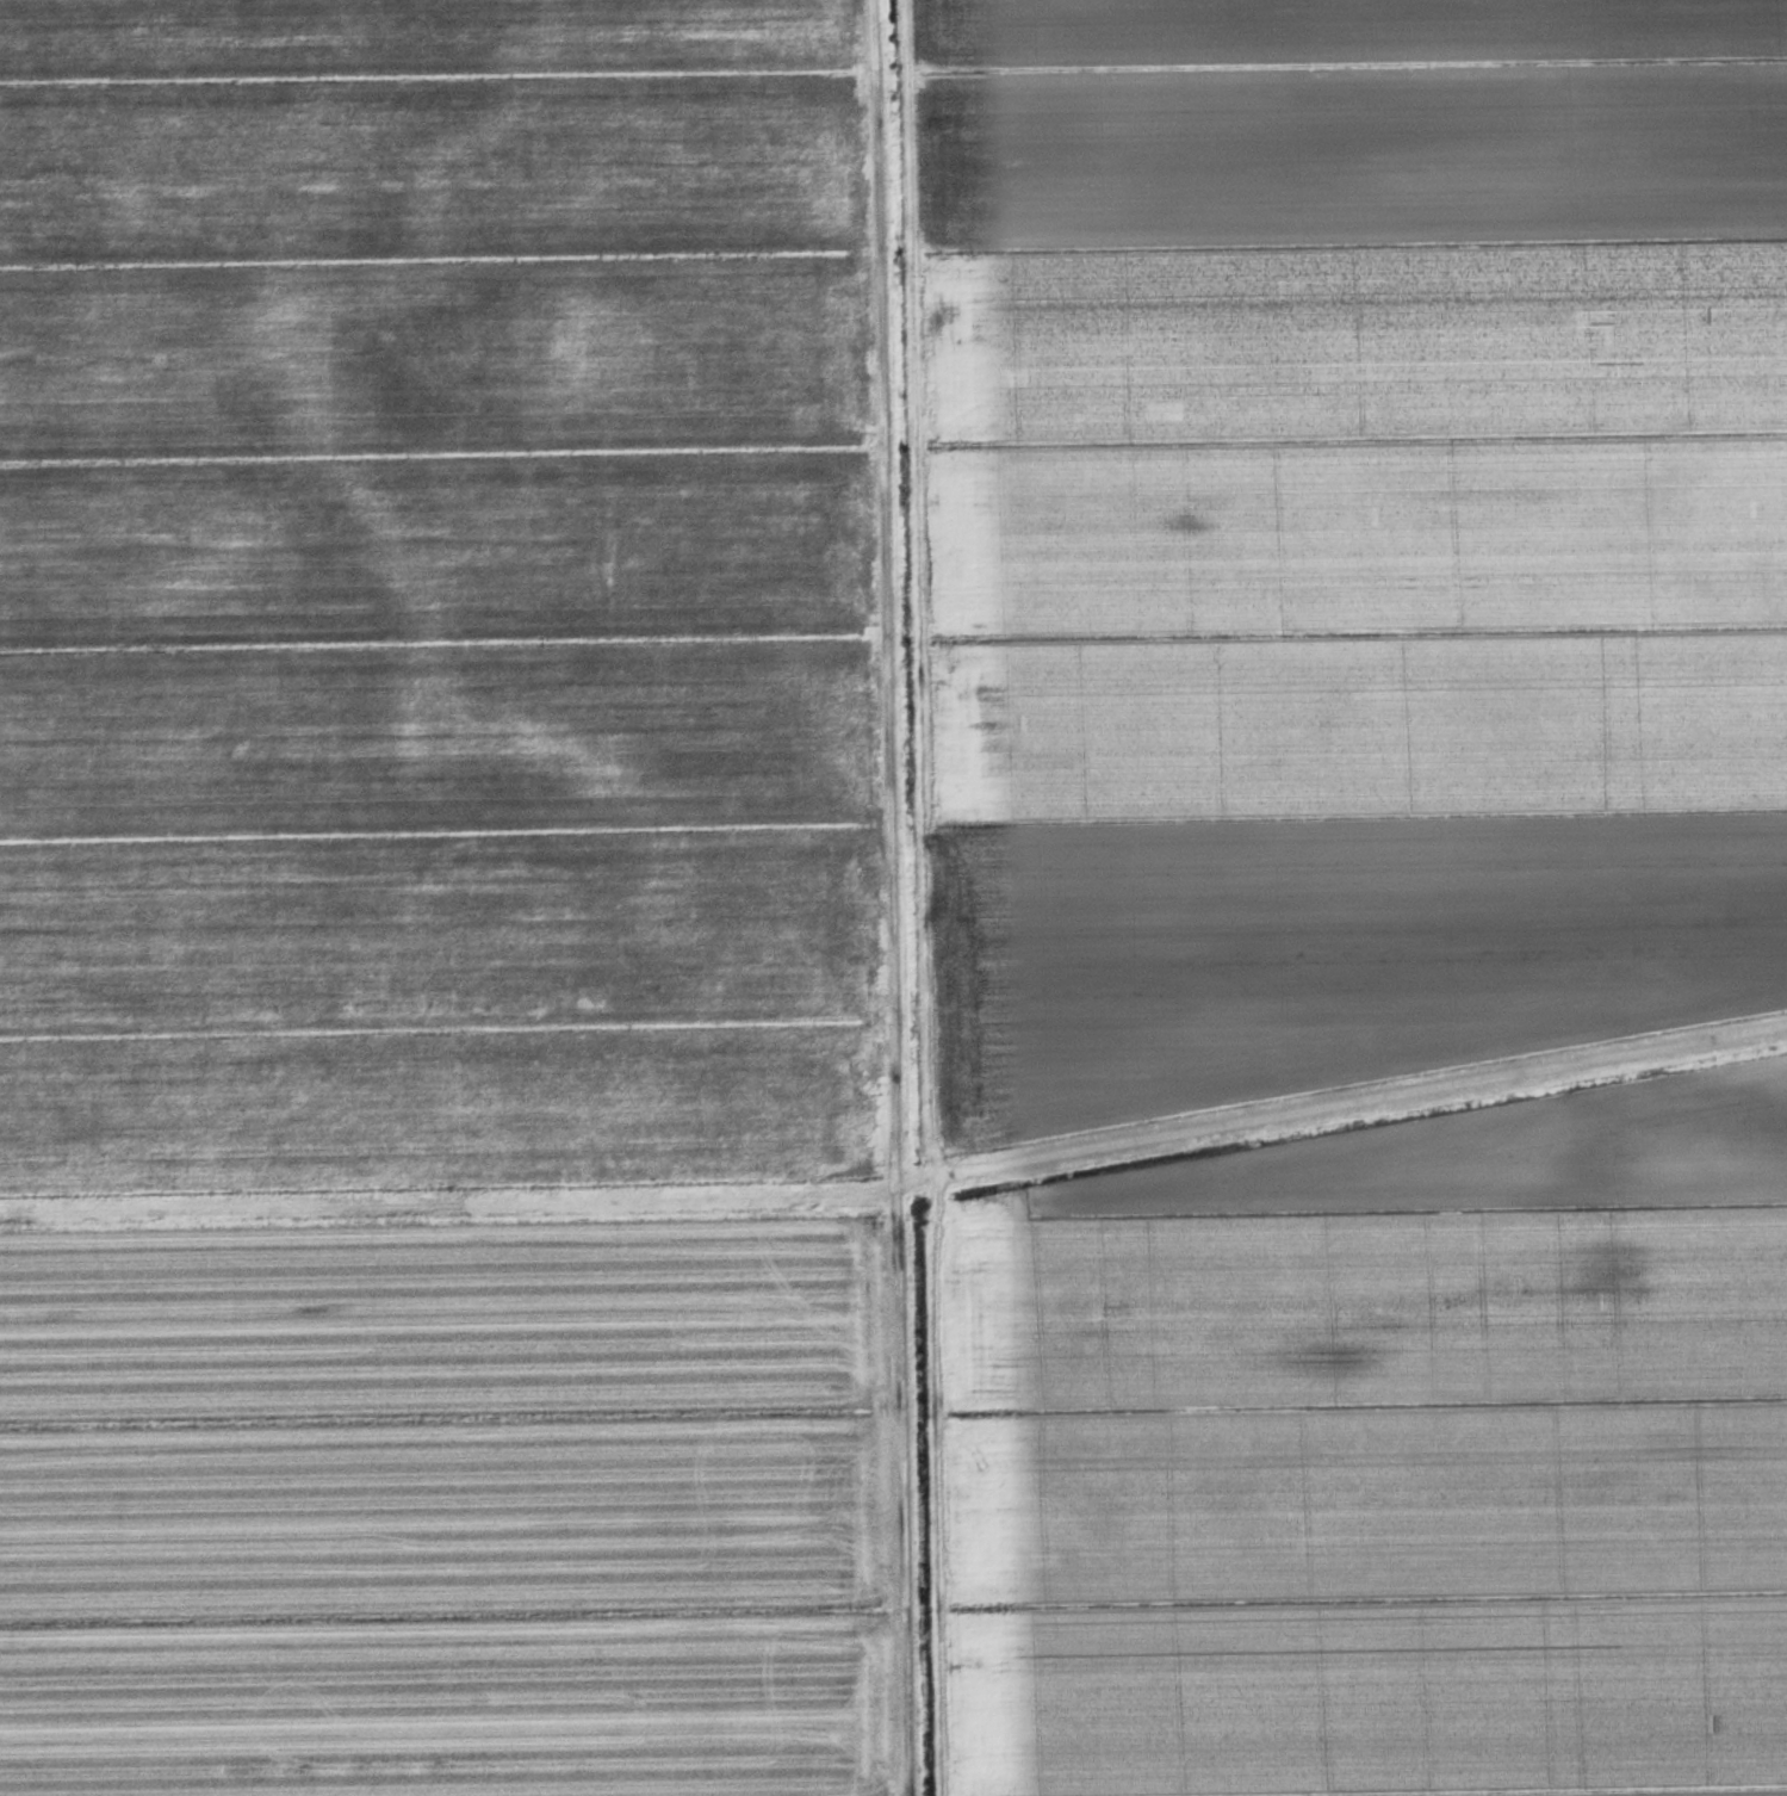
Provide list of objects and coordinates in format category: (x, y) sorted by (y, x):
crop: (1341, 540)
crop: (438, 594)

